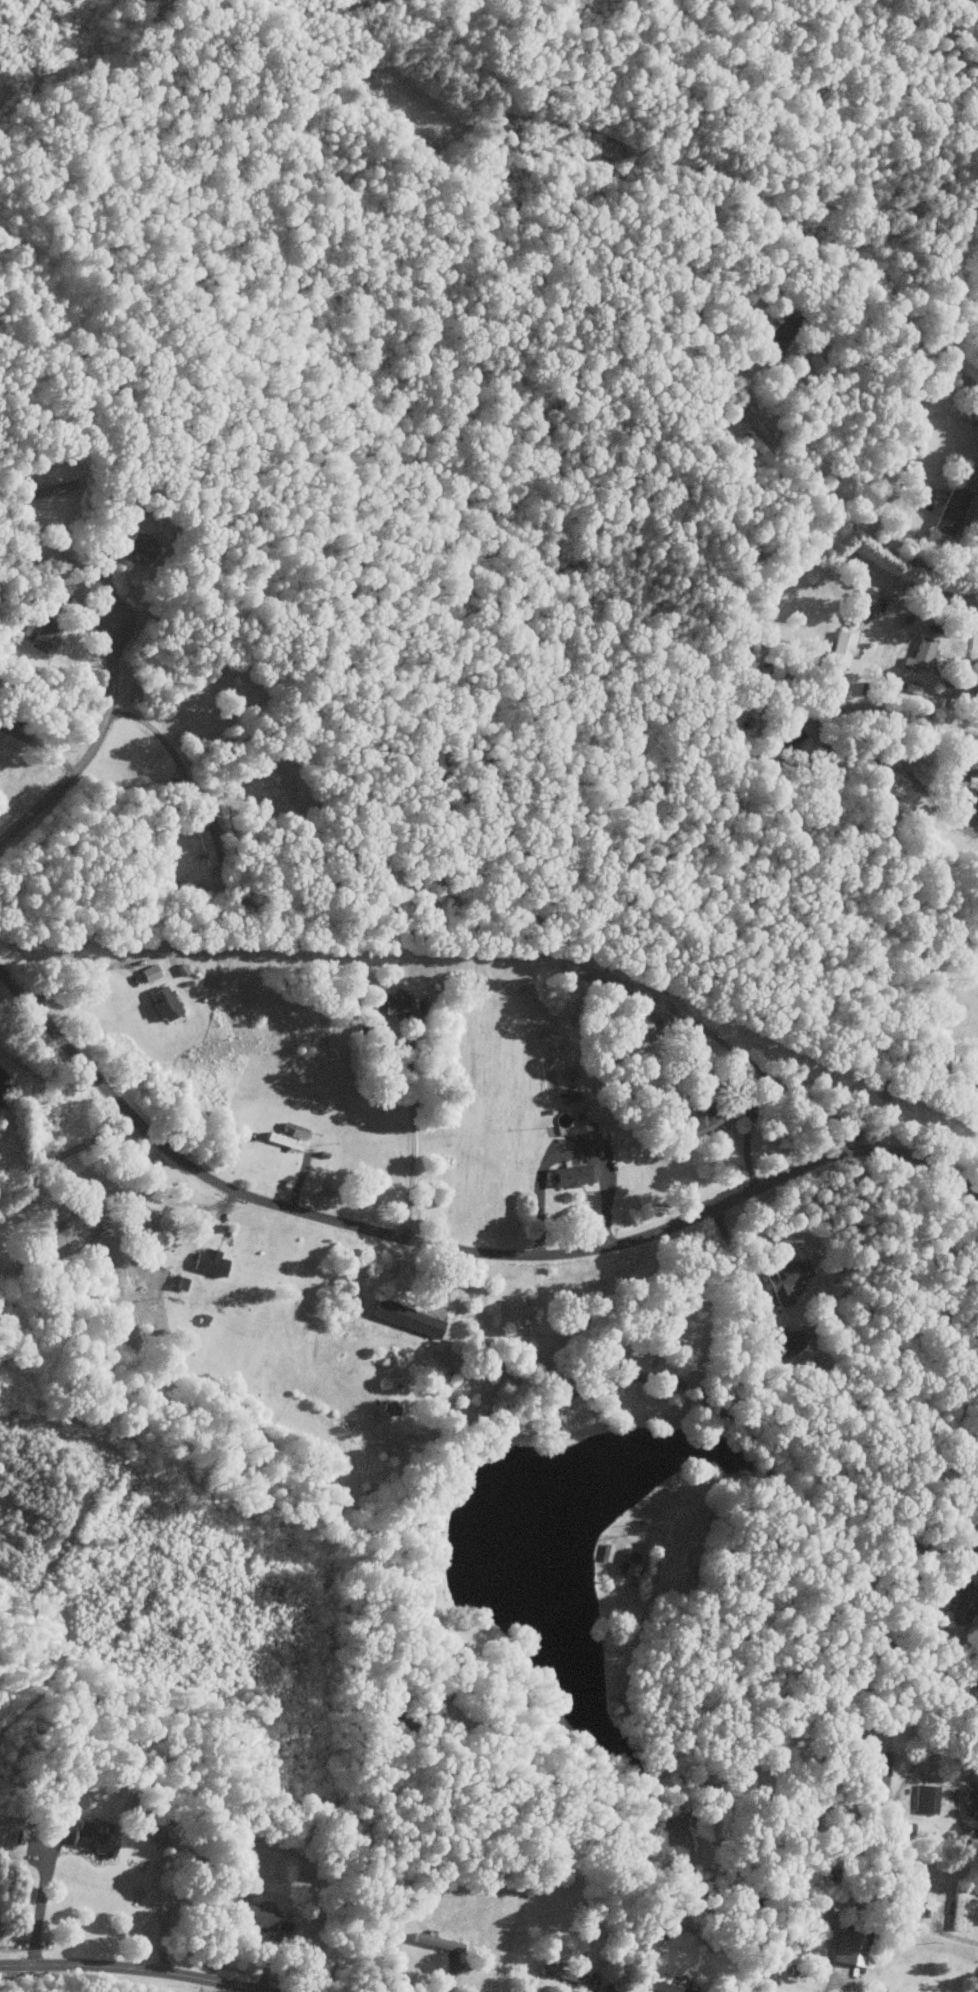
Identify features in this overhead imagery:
building: (779, 335)
road: (830, 508)
building: (950, 511)
building: (143, 546)
road: (966, 551)
road: (74, 562)
road: (963, 604)
building: (45, 636)
building: (840, 650)
building: (921, 655)
road: (826, 713)
road: (39, 746)
road: (91, 749)
road: (178, 765)
road: (938, 809)
building: (149, 972)
road: (78, 978)
building: (163, 1002)
building: (389, 1003)
building: (635, 1029)
road: (781, 1089)
building: (705, 1120)
building: (583, 1134)
building: (295, 1135)
road: (411, 1135)
building: (281, 1141)
road: (66, 1152)
road: (569, 1155)
building: (569, 1176)
road: (456, 1249)
road: (736, 1259)
building: (208, 1262)
building: (783, 1278)
building: (405, 1318)
building: (784, 1344)
road: (680, 1382)
road: (699, 1488)
road: (961, 1537)
building: (628, 1564)
building: (961, 1606)
building: (876, 1769)
road: (933, 1781)
building: (924, 1799)
building: (971, 1799)
road: (955, 1802)
building: (87, 1839)
road: (892, 1841)
road: (267, 1892)
road: (40, 1905)
building: (252, 1916)
road: (956, 1937)
building: (851, 1950)
road: (134, 1968)
building: (560, 1974)
road: (838, 1978)
road: (207, 1986)
building: (664, 1988)

